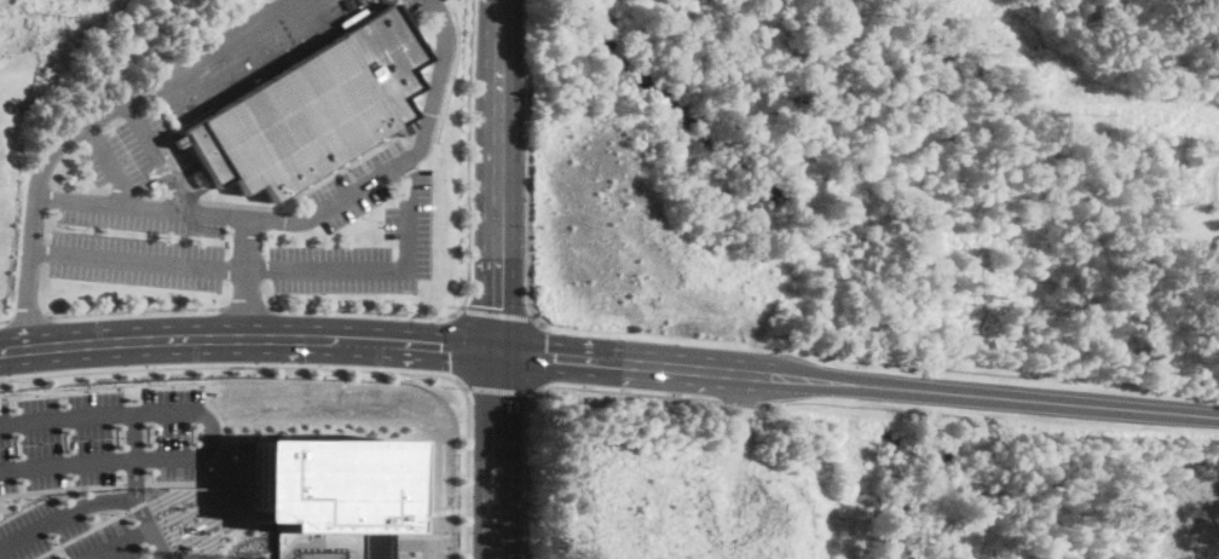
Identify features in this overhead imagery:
parking lot: (420, 5)
road: (432, 86)
road: (148, 88)
building: (312, 110)
park: (958, 120)
road: (470, 155)
road: (157, 156)
road: (114, 165)
road: (530, 165)
road: (496, 168)
parking lot: (138, 184)
parking lot: (358, 185)
road: (247, 243)
parking lot: (363, 252)
road: (64, 254)
parking lot: (134, 259)
traffic signals: (493, 305)
road: (28, 306)
road: (247, 306)
road: (137, 309)
road: (249, 310)
road: (366, 311)
road: (497, 313)
road: (28, 317)
road: (4, 322)
road: (245, 324)
traffic signals: (548, 342)
road: (457, 346)
road: (245, 350)
road: (492, 351)
road: (680, 355)
road: (541, 357)
traffic signals: (449, 361)
road: (235, 368)
road: (678, 381)
road: (499, 391)
road: (626, 391)
traffic signals: (492, 398)
road: (1041, 400)
road: (210, 433)
parking lot: (104, 437)
road: (492, 462)
road: (468, 473)
building: (330, 486)
road: (134, 488)
road: (62, 491)
road: (64, 513)
parking lot: (63, 536)
road: (82, 536)
road: (115, 542)

